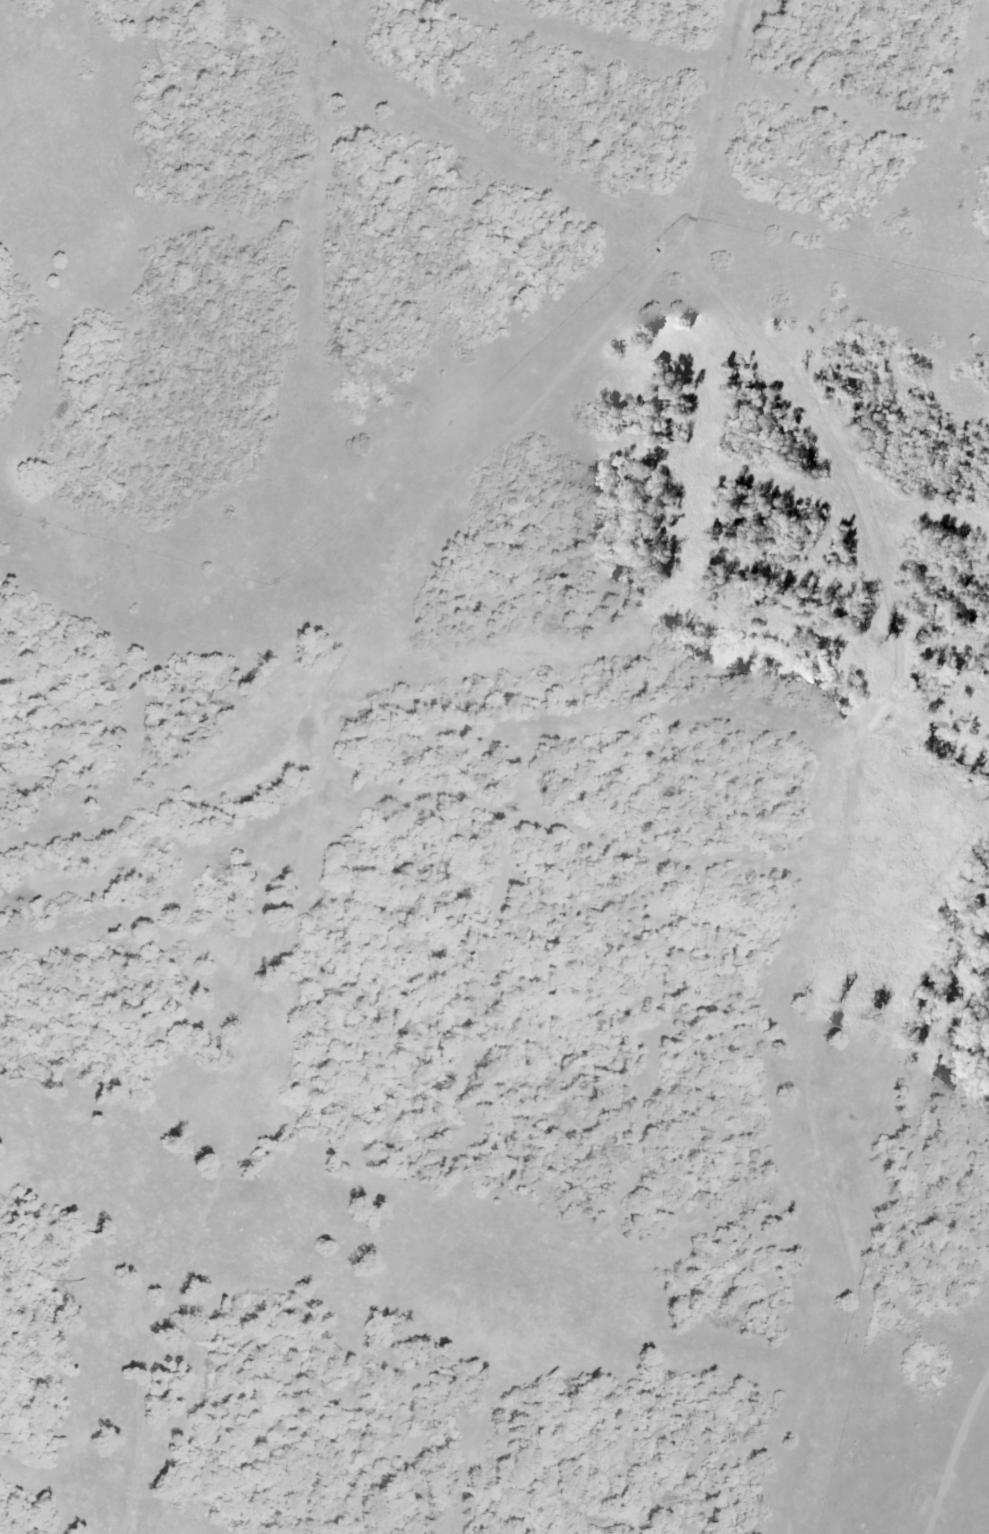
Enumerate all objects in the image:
building: (683, 292)
building: (319, 735)
road: (967, 1436)
road: (937, 1502)

